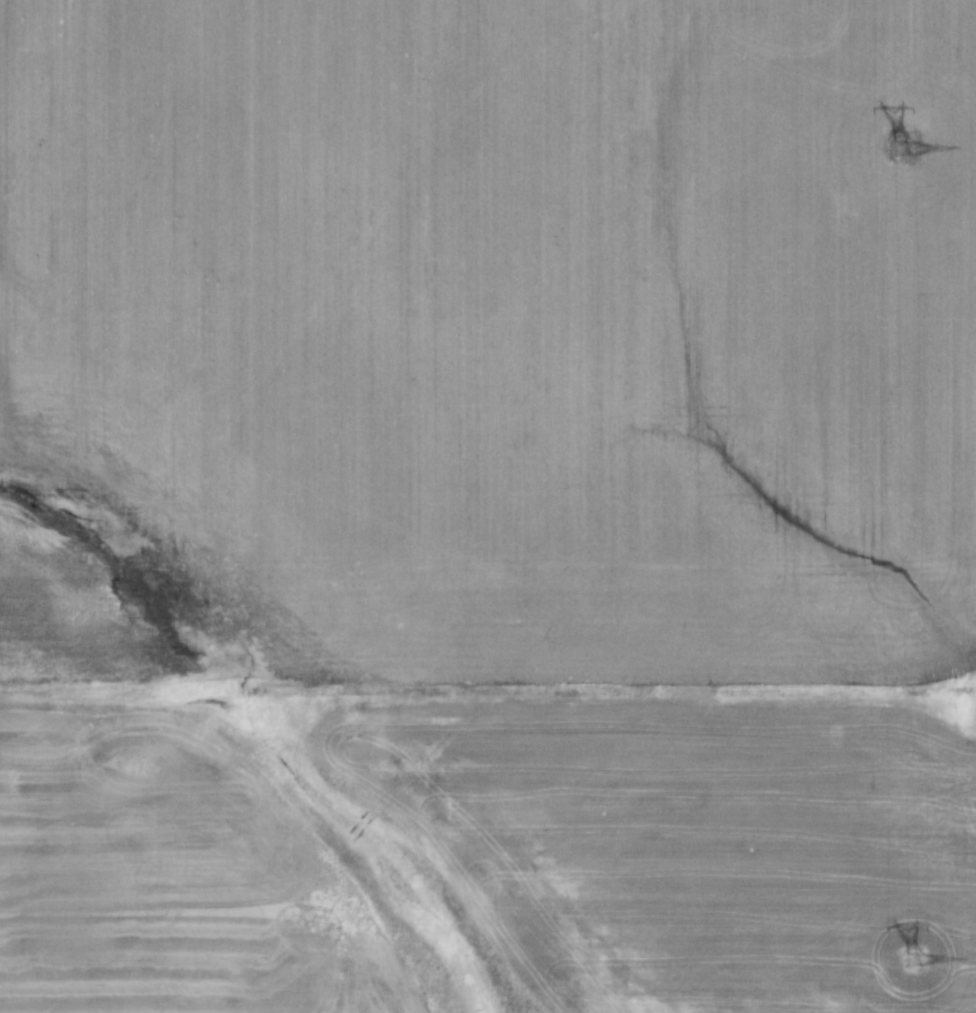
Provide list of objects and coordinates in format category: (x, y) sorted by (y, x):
power tower: (899, 149)
power tower: (910, 959)

